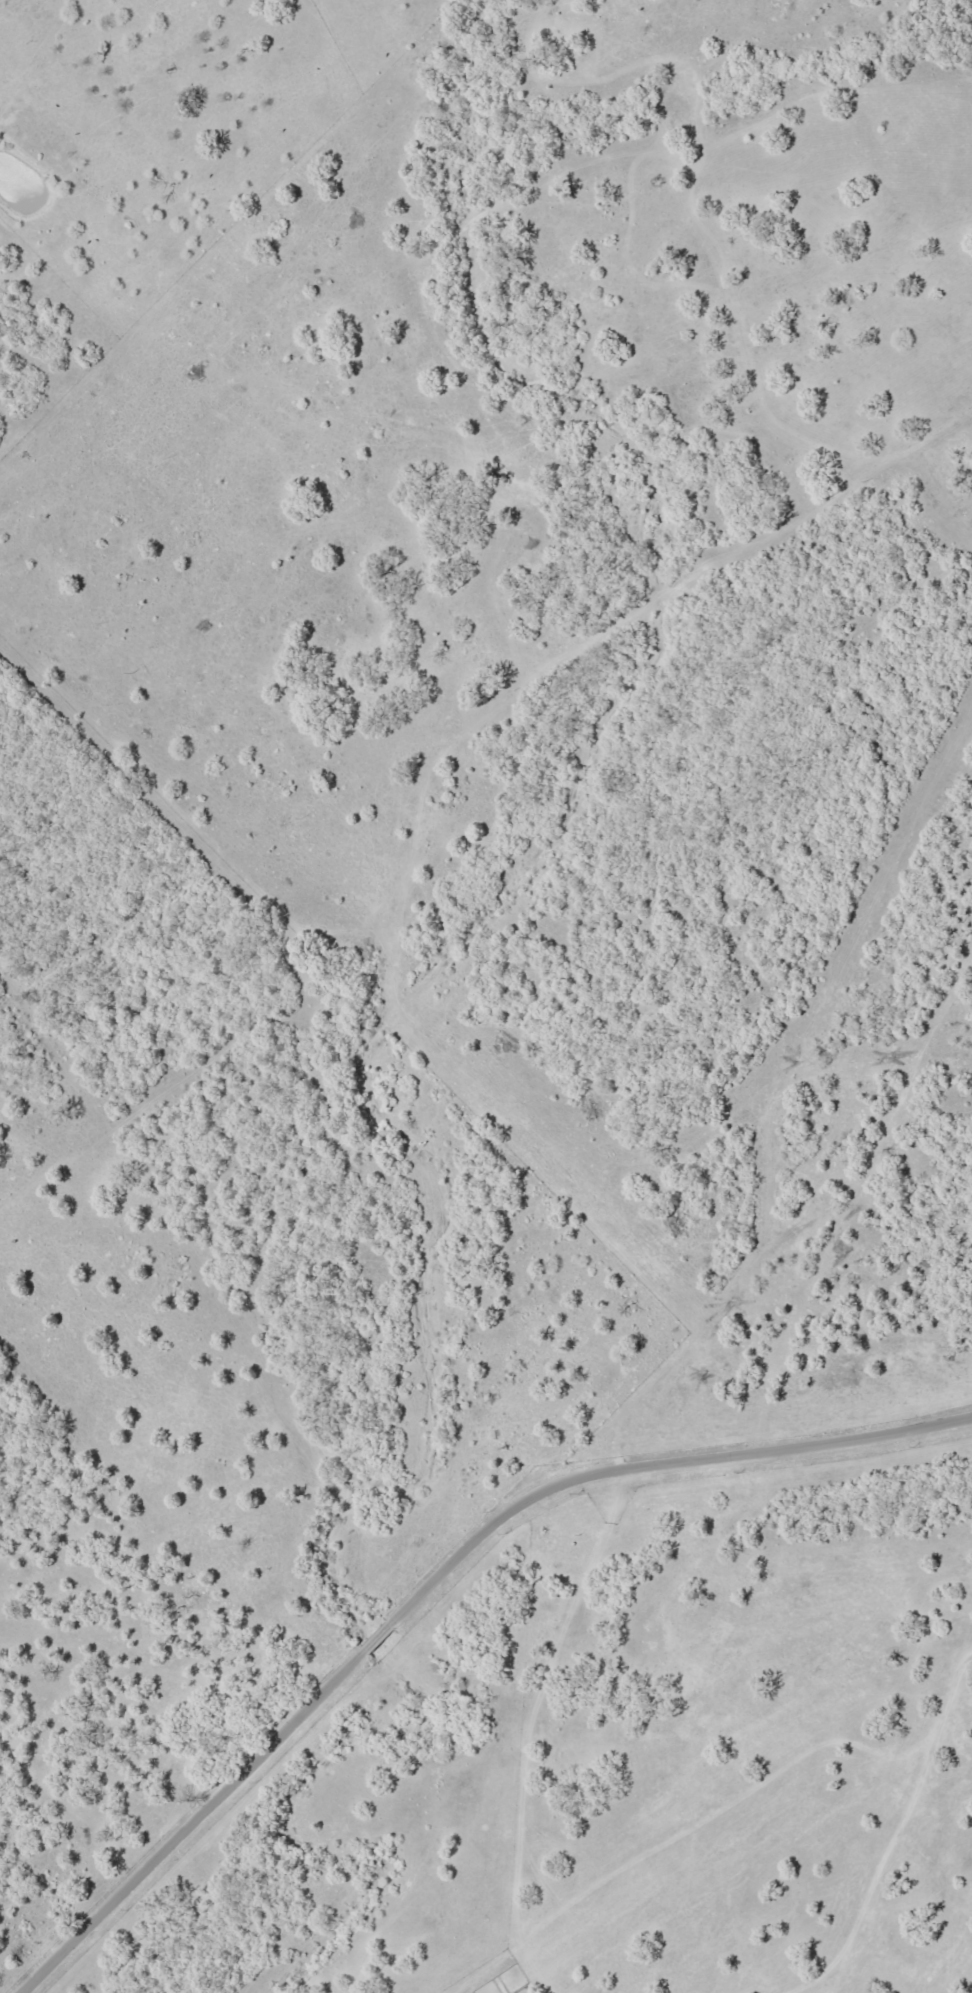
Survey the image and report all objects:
road: (433, 1582)
road: (895, 1841)

